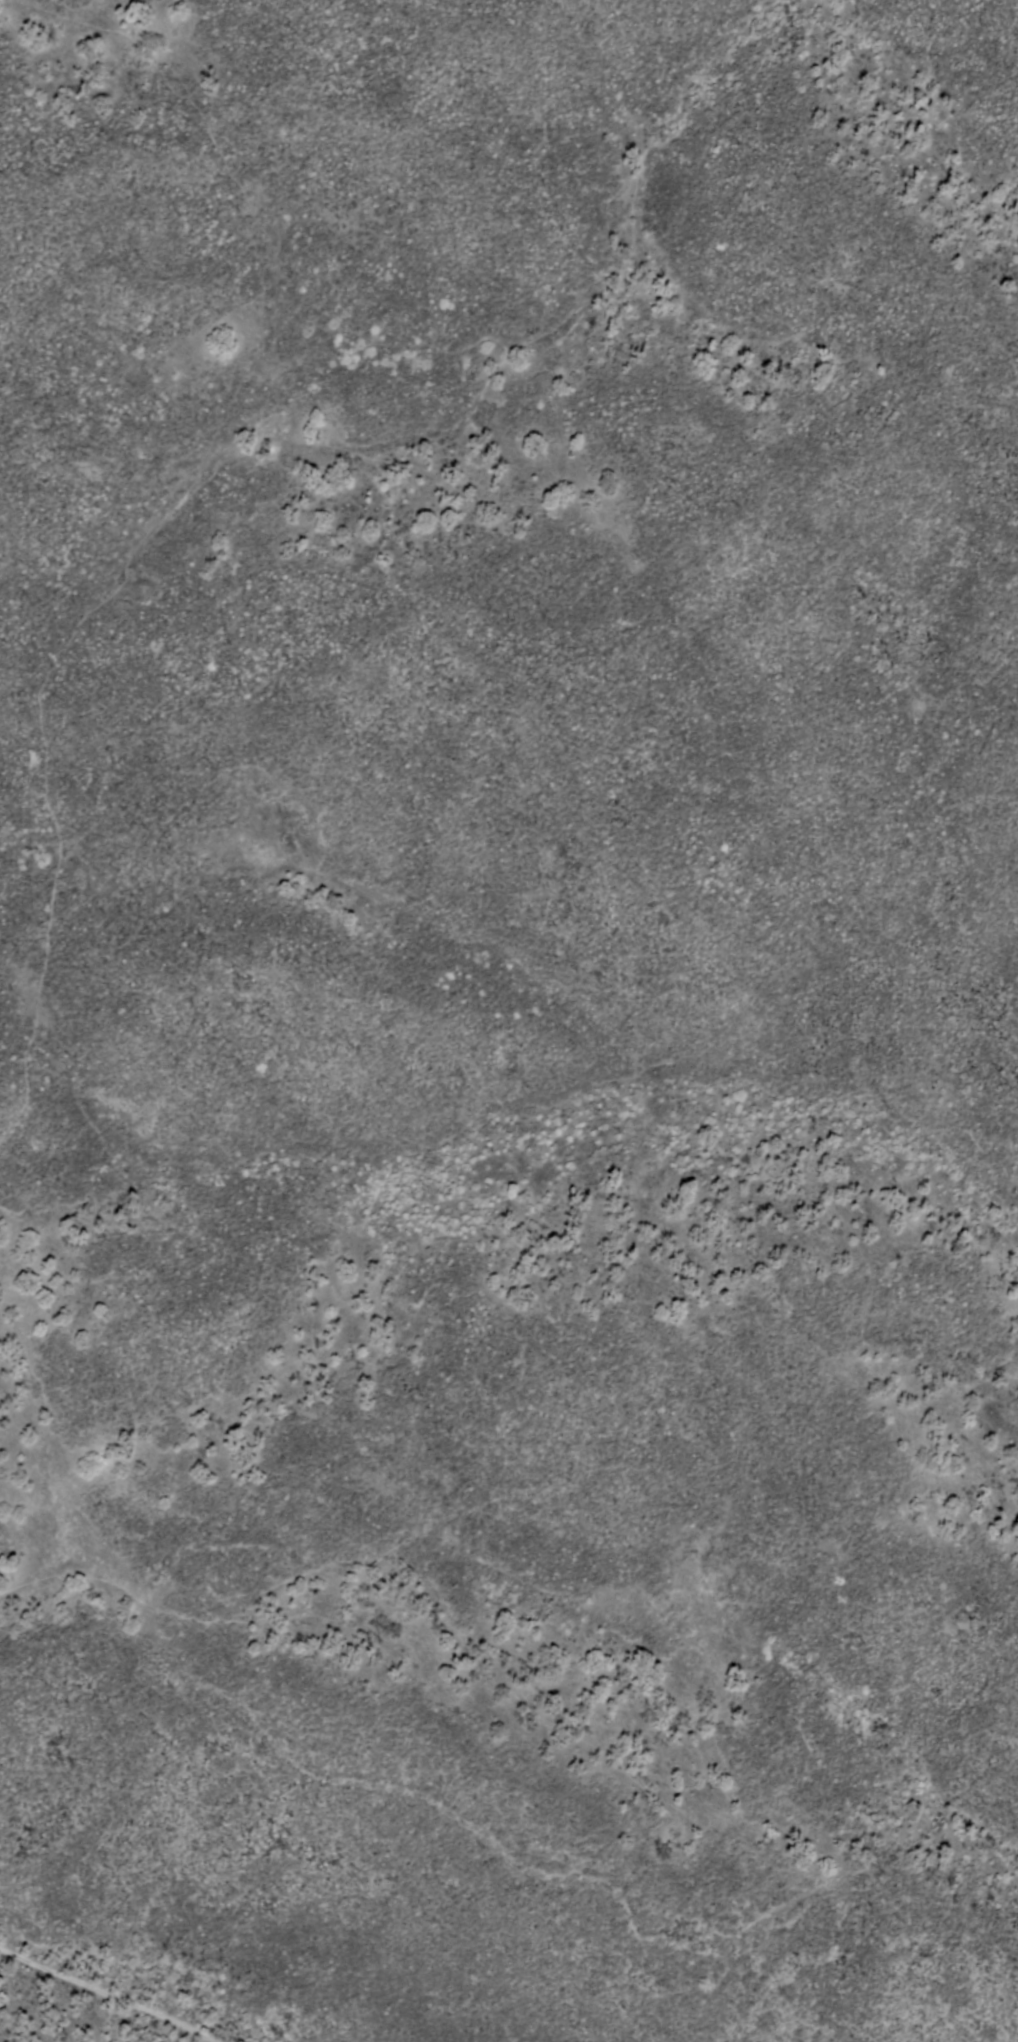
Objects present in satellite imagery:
road: (104, 1995)

